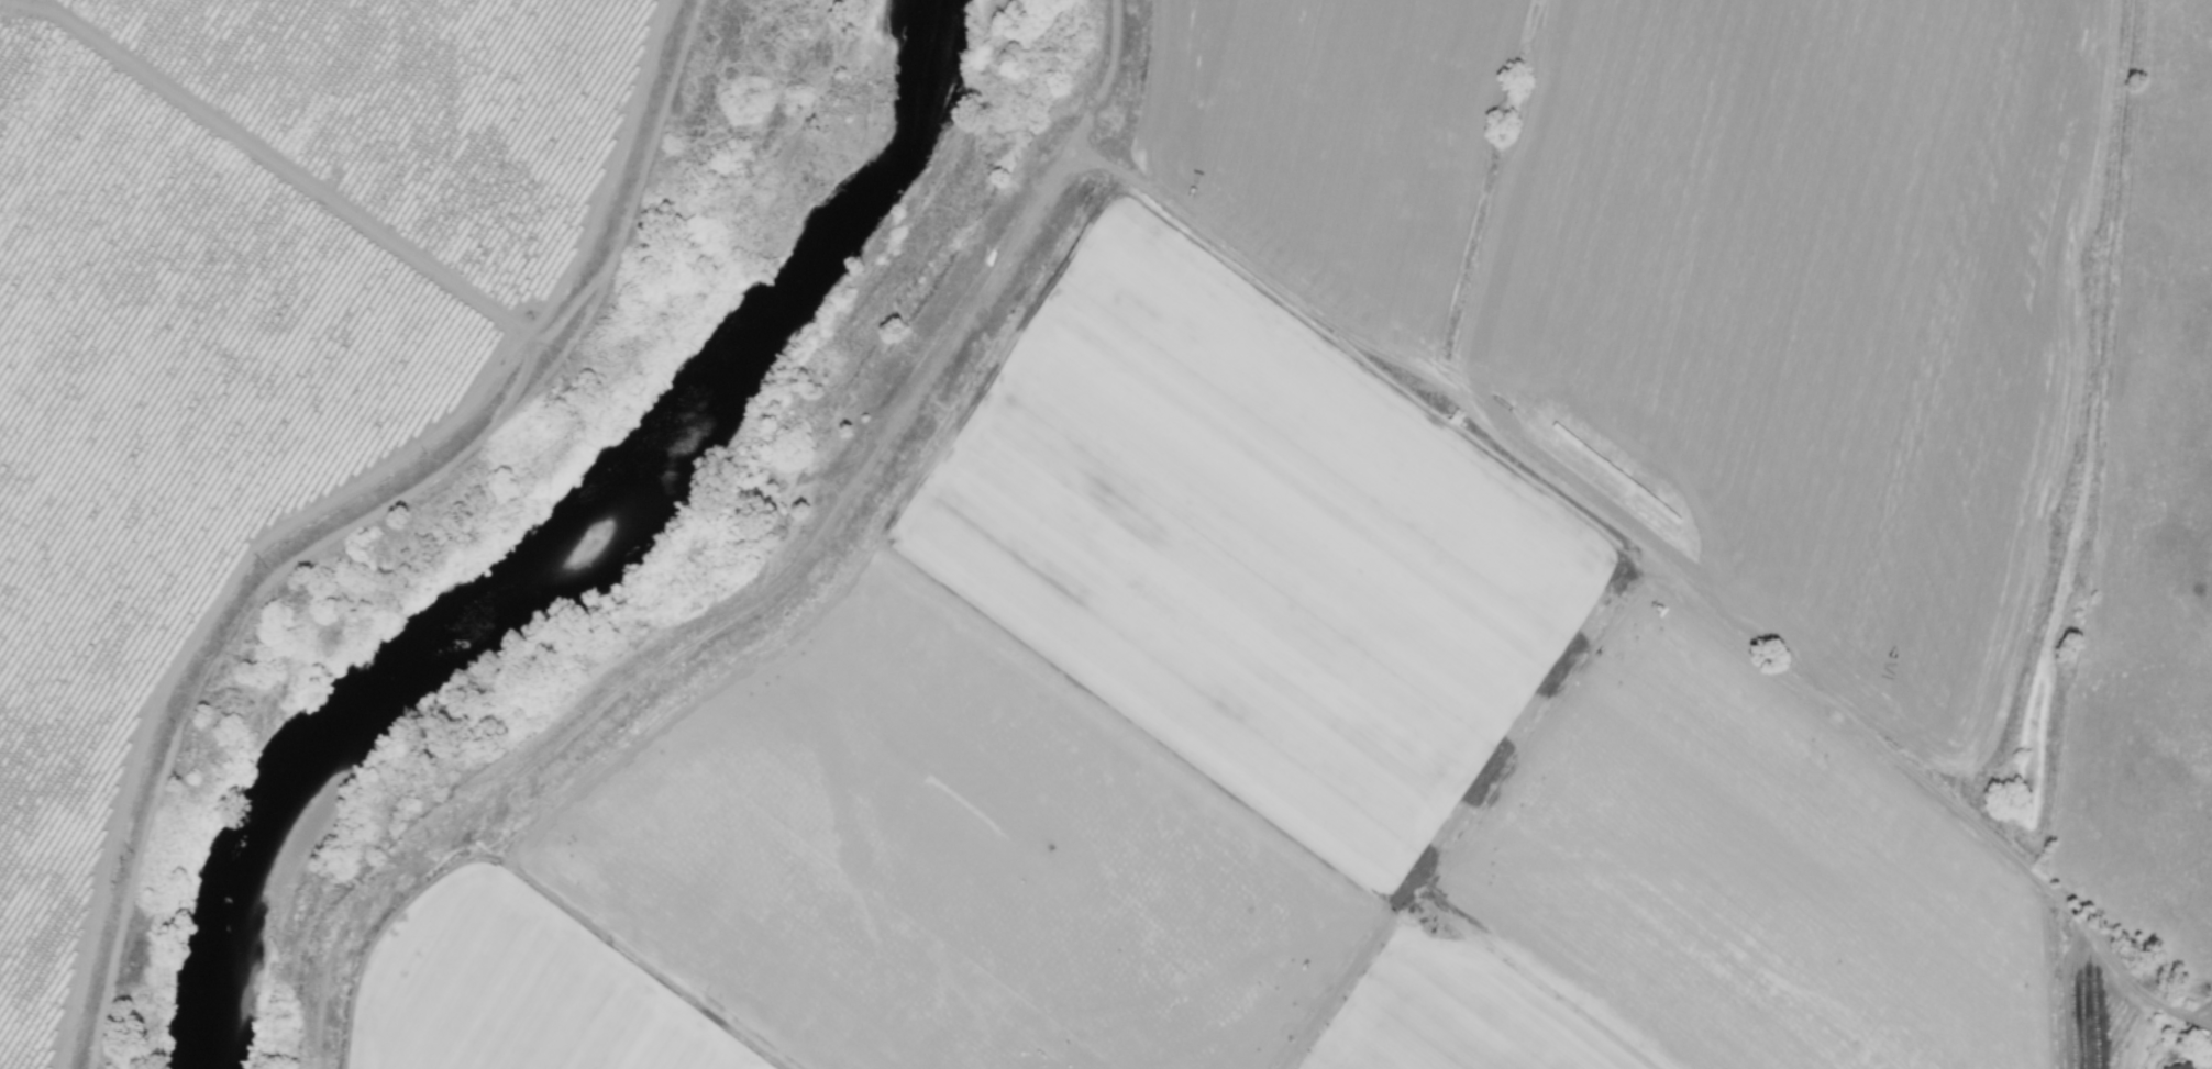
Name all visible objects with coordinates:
river: (582, 556)
building: (2179, 1066)

